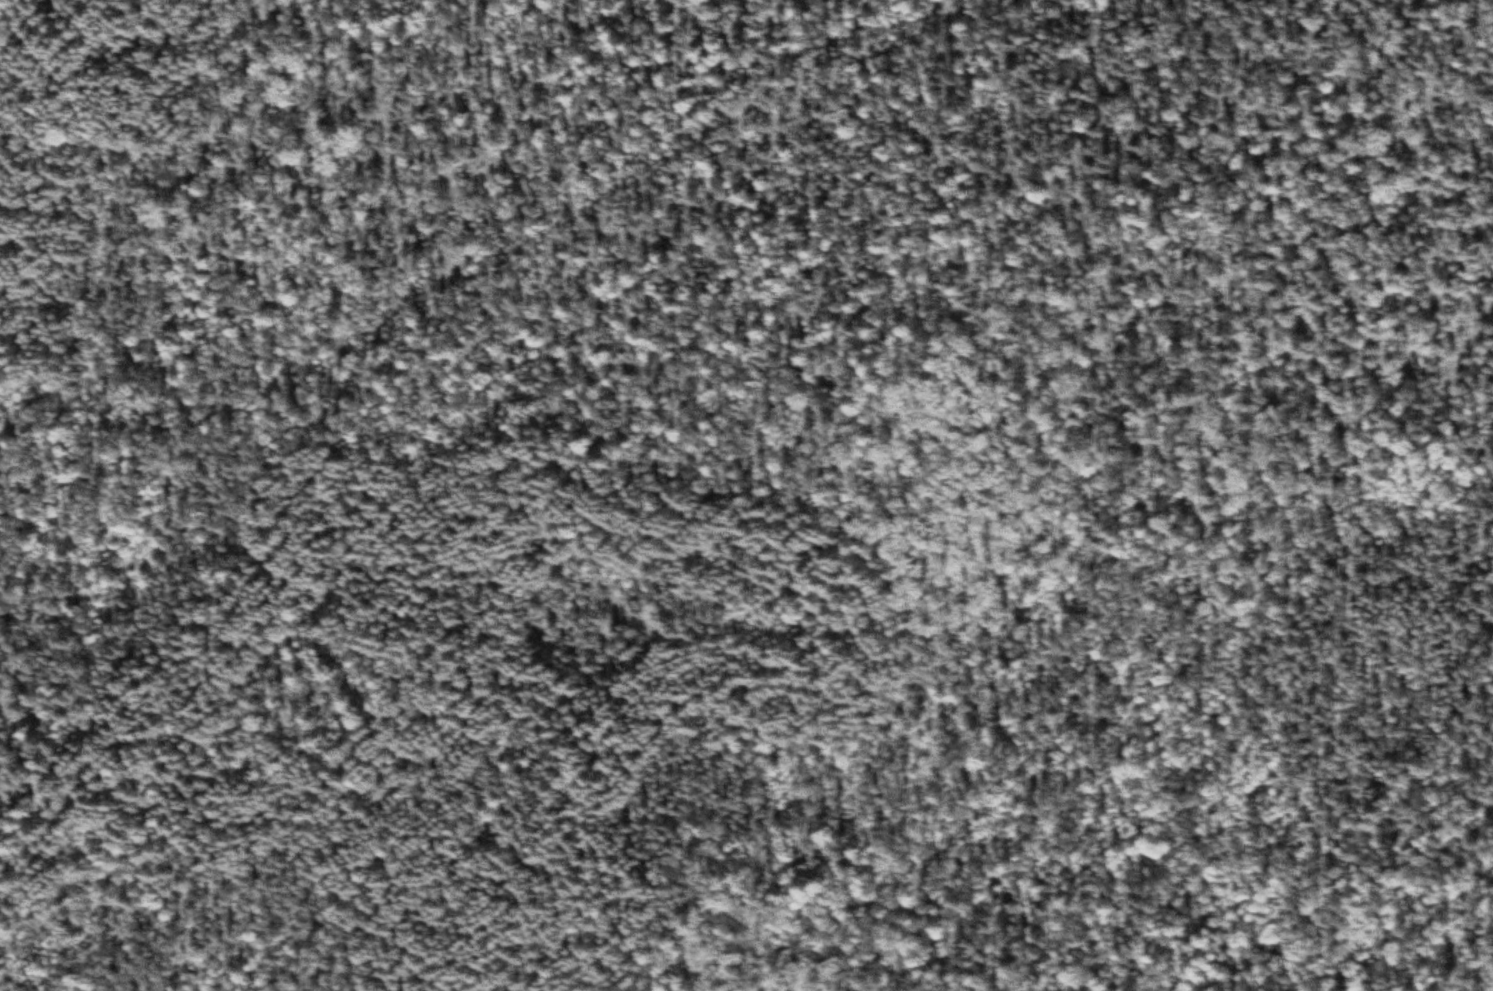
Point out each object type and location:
road: (446, 312)

